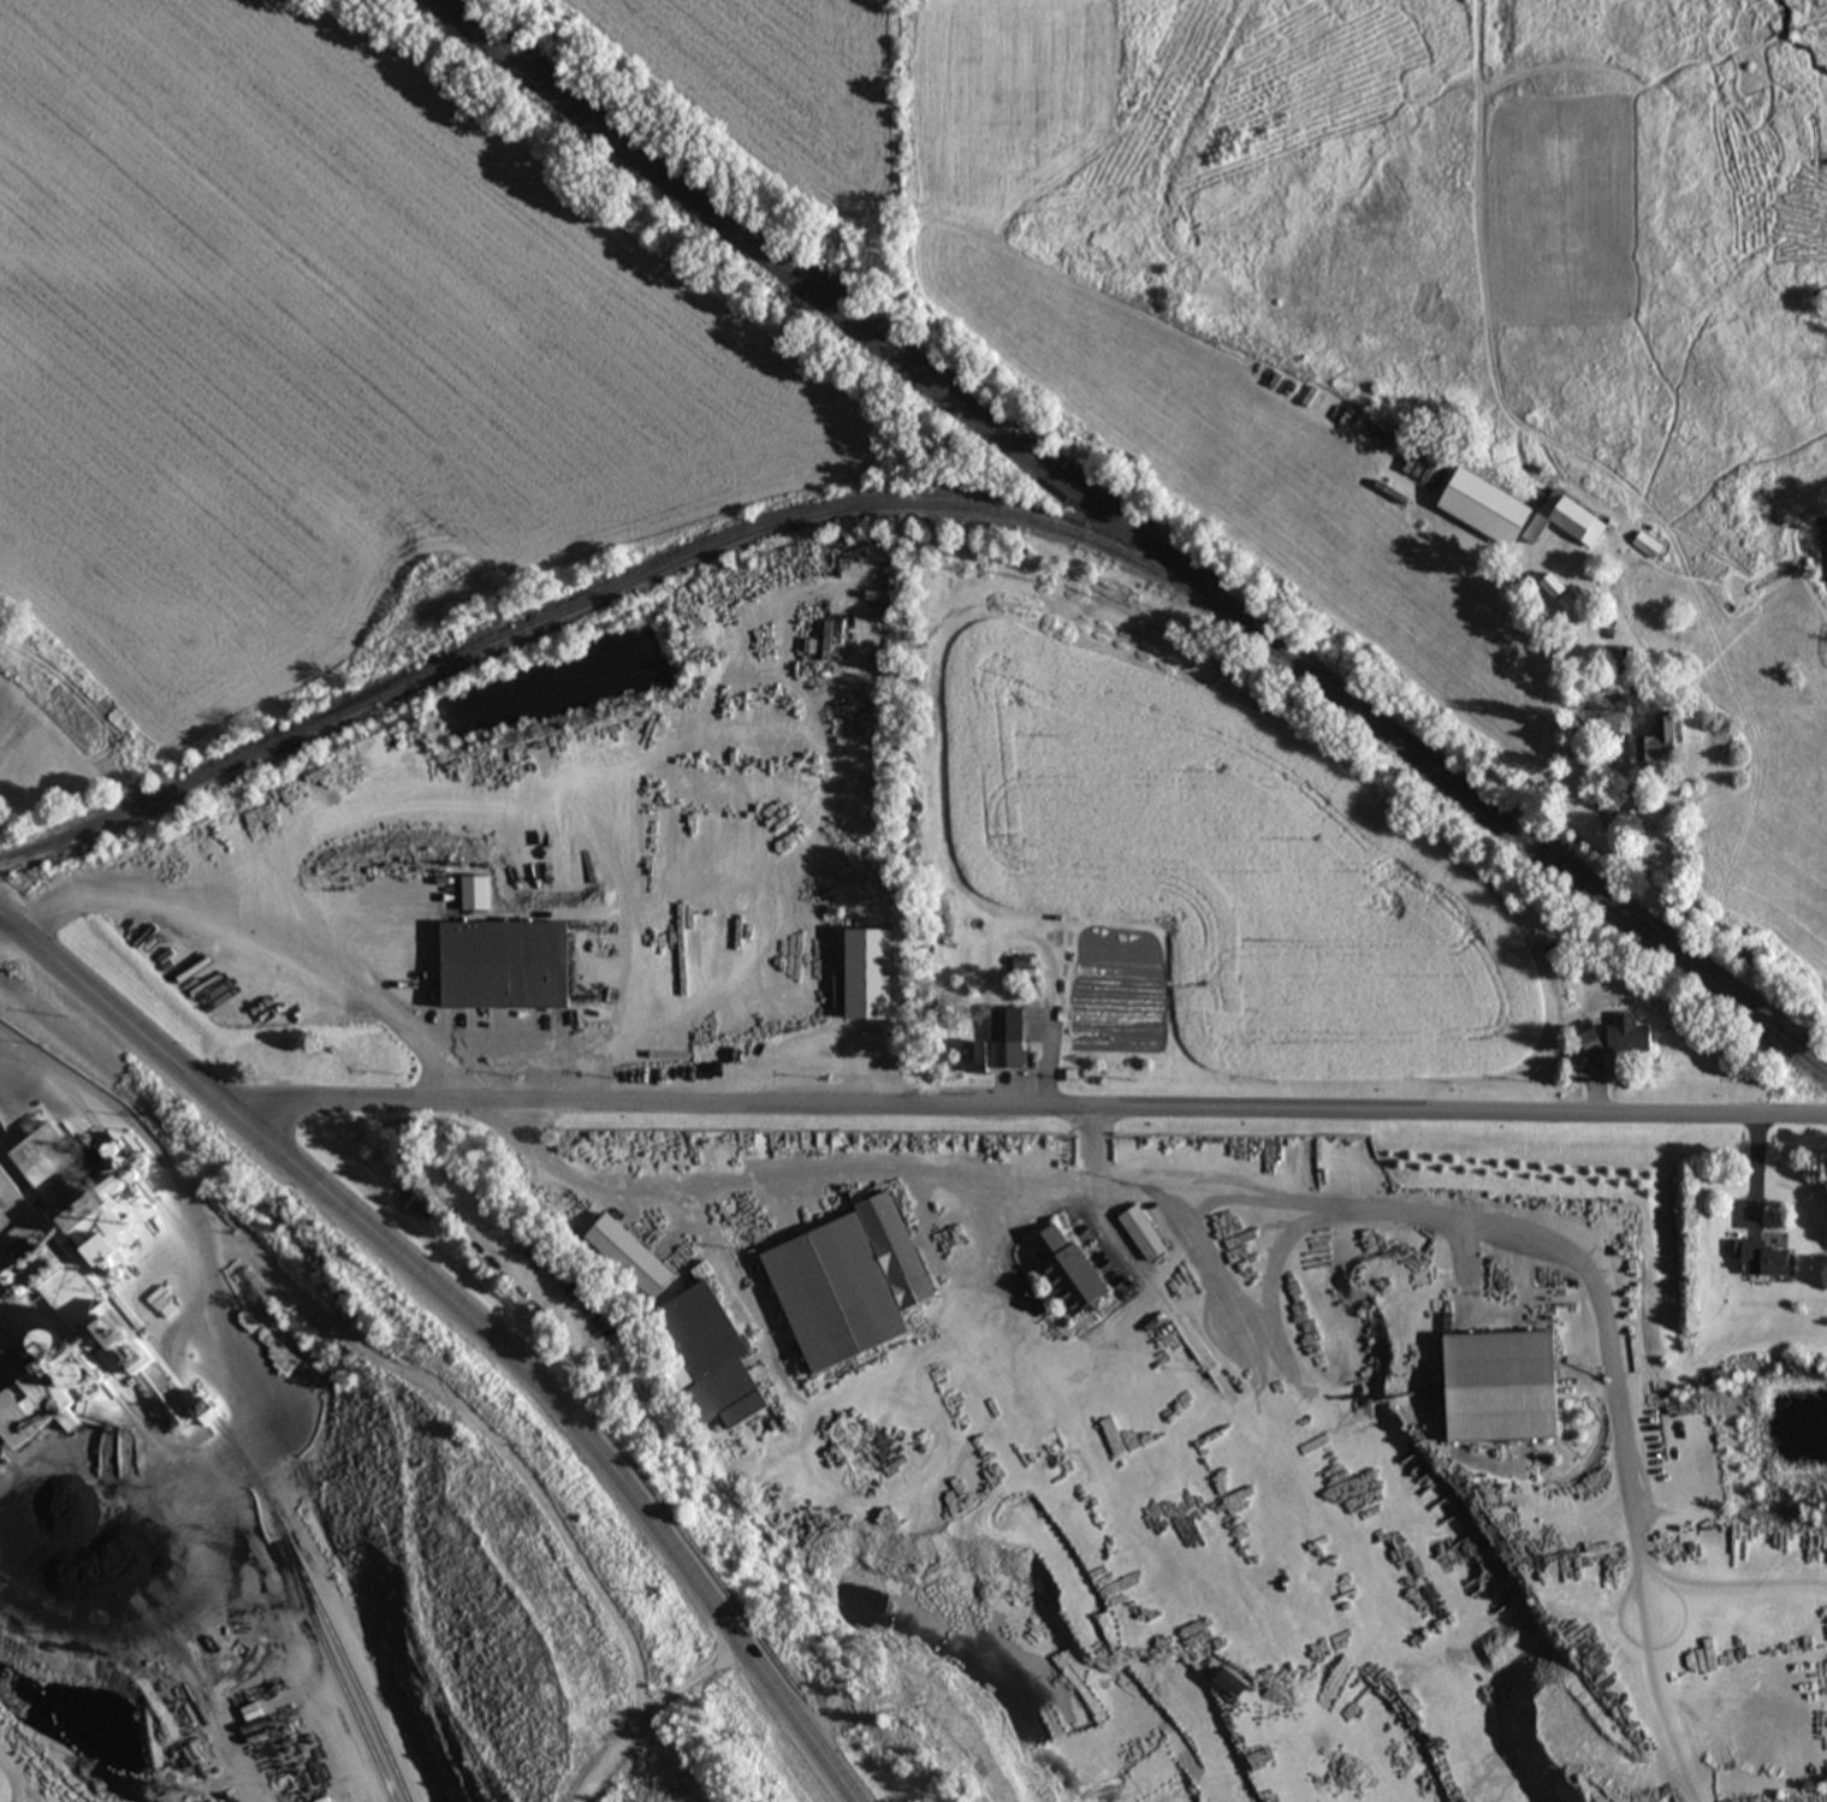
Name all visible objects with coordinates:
building: (1526, 515)
railway: (1150, 521)
building: (1566, 594)
building: (1625, 668)
building: (1674, 741)
building: (29, 767)
building: (490, 897)
road: (262, 918)
building: (518, 971)
building: (880, 979)
building: (1642, 1038)
building: (71, 1042)
building: (1598, 1043)
building: (992, 1059)
road: (1028, 1109)
road: (806, 1172)
building: (70, 1174)
building: (18, 1216)
building: (1140, 1238)
building: (891, 1247)
building: (627, 1252)
parking lot: (526, 1258)
building: (1767, 1261)
building: (1064, 1270)
building: (836, 1291)
road: (464, 1326)
building: (710, 1334)
building: (152, 1338)
building: (76, 1347)
silo: (76, 1347)
building: (1499, 1386)
building: (732, 1395)
building: (757, 1413)
building: (29, 1424)
building: (2, 1440)
quarry: (1232, 1452)
quarry: (292, 1500)
quarry: (275, 1516)

